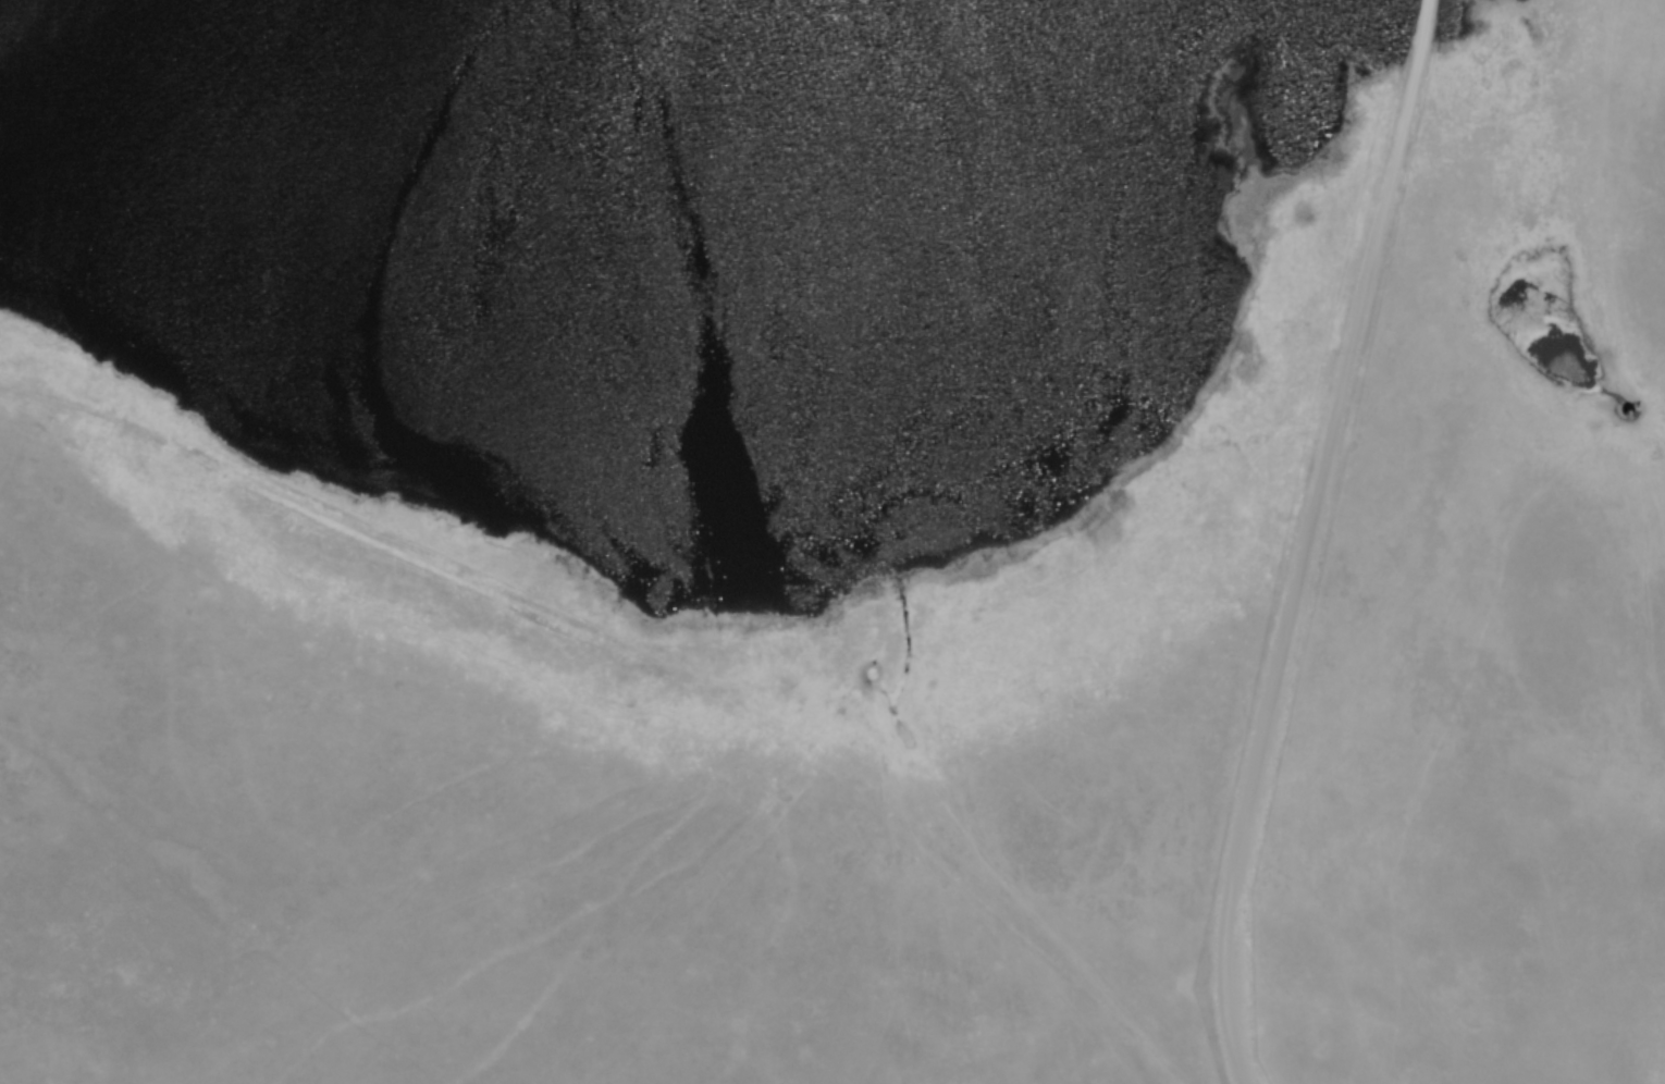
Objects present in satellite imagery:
road: (1303, 540)

